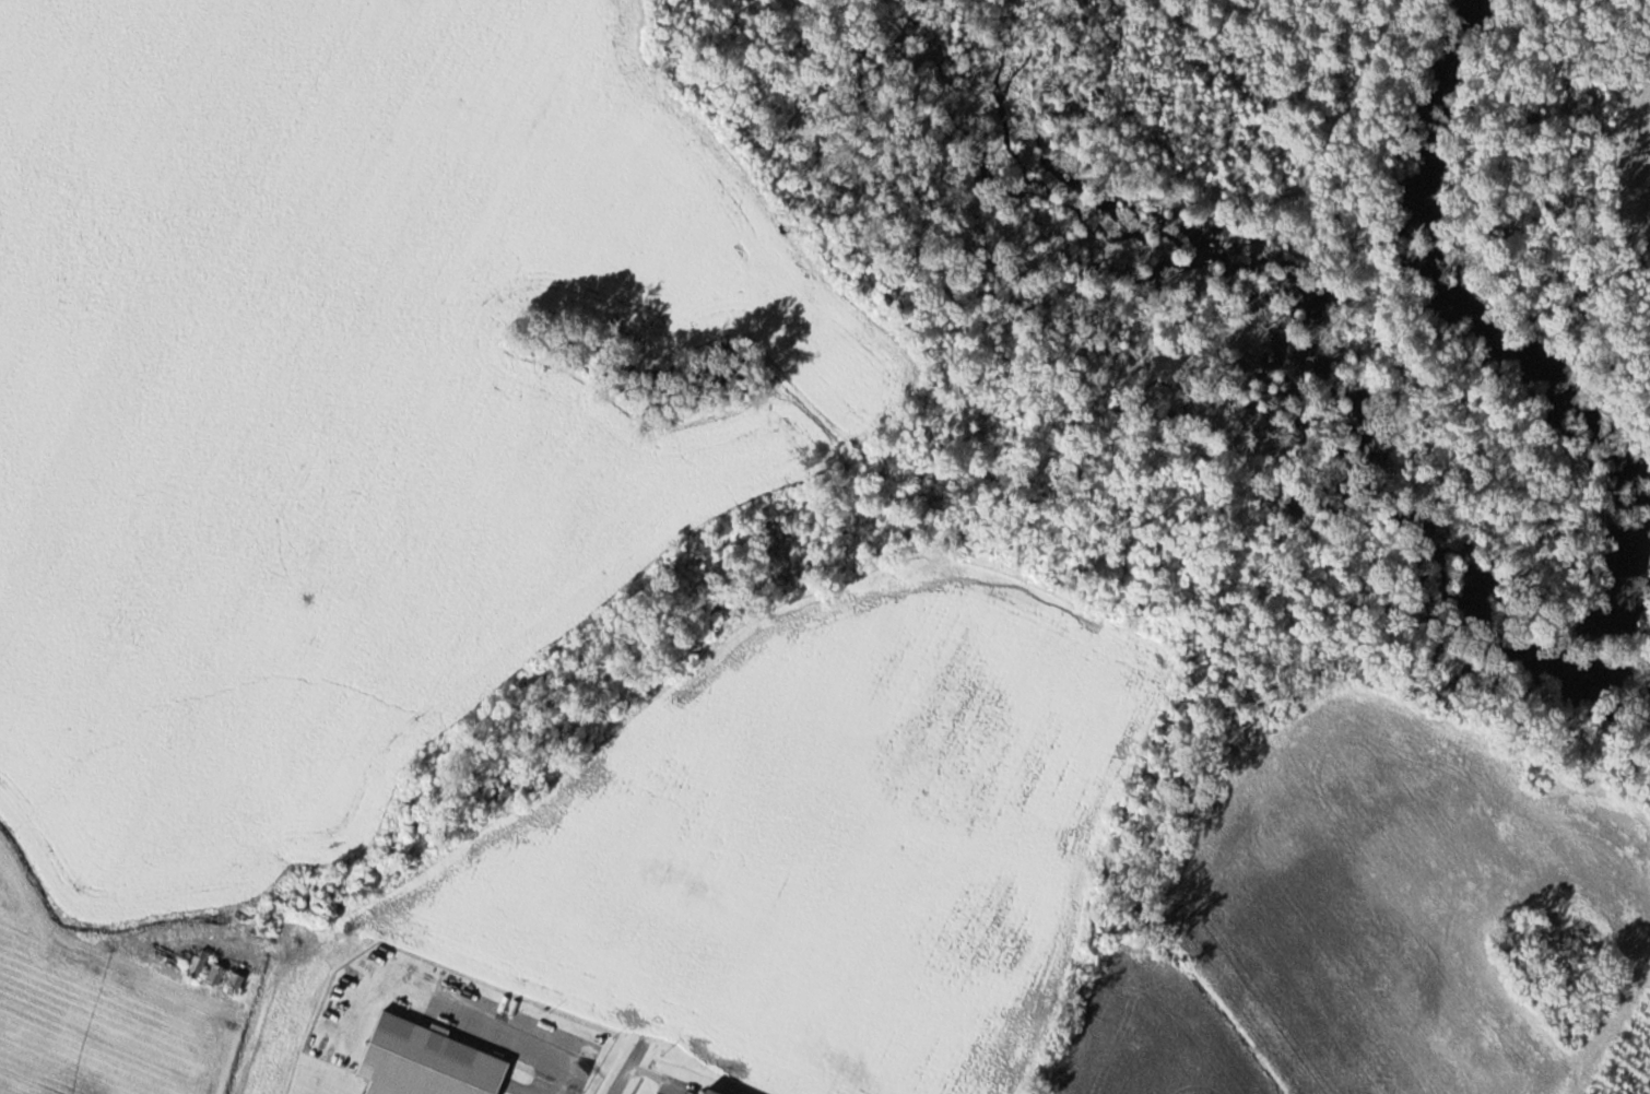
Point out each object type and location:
river: (1529, 372)
building: (199, 964)
building: (217, 973)
building: (237, 980)
building: (425, 1062)
road: (633, 1068)
building: (705, 1093)

